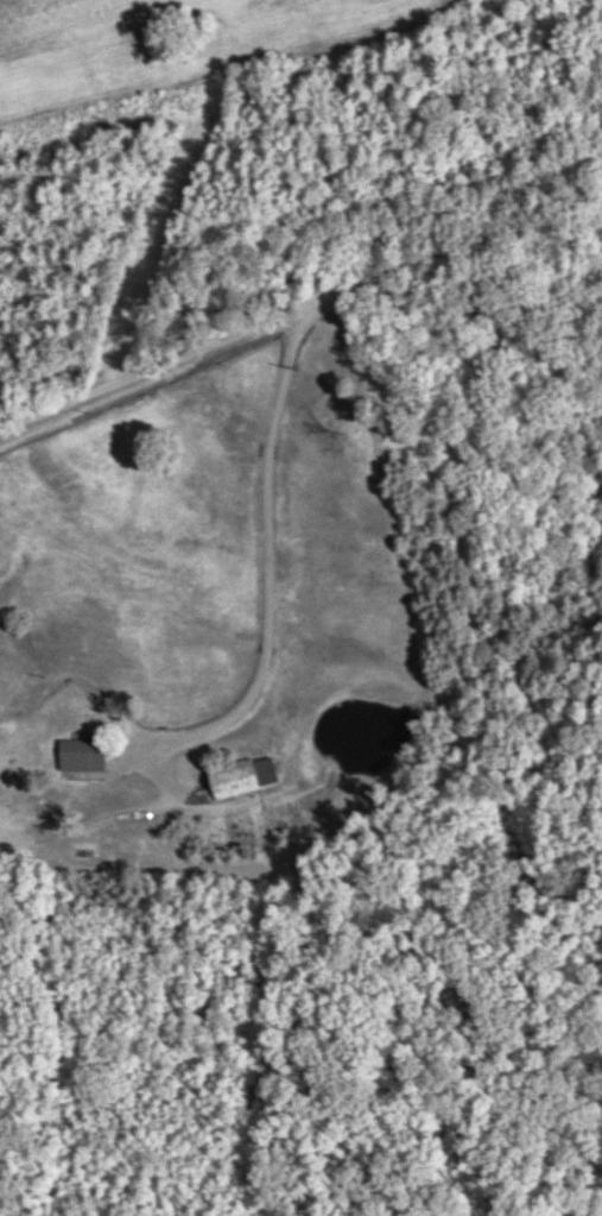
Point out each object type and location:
road: (443, 252)
road: (142, 368)
building: (90, 756)

